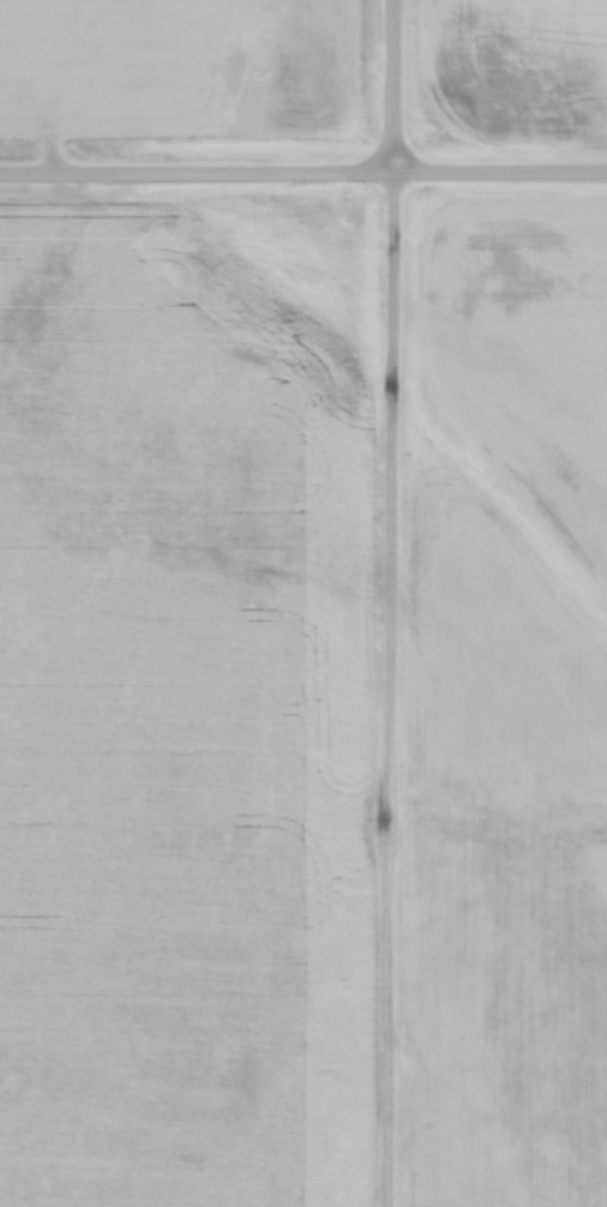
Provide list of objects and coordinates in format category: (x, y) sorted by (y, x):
road: (303, 176)
road: (396, 603)

